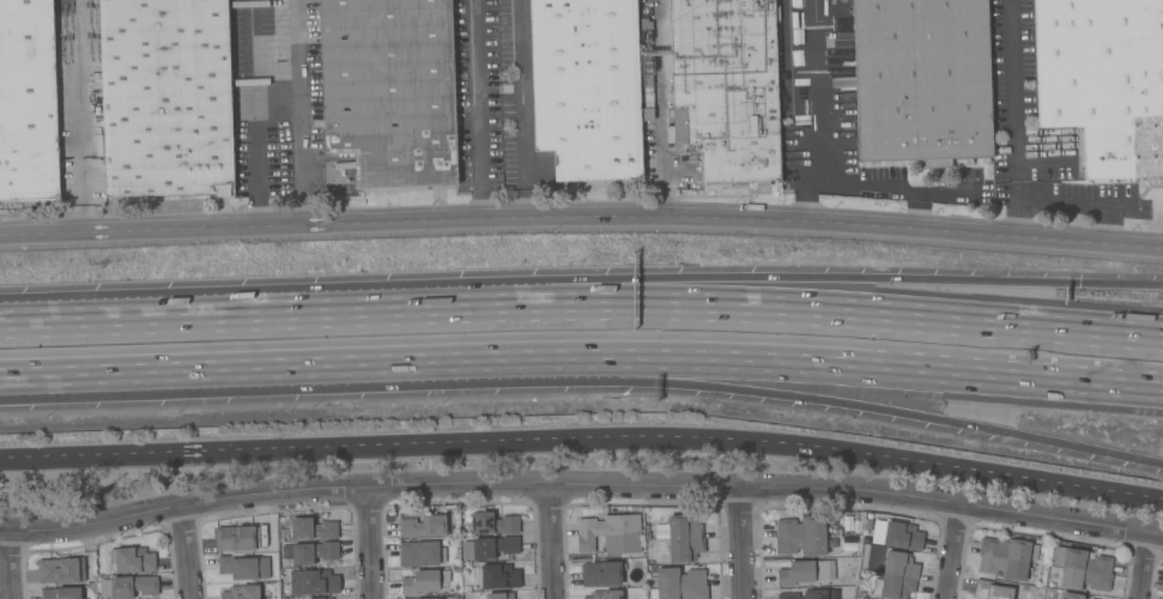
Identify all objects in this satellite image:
building: (921, 80)
building: (1103, 81)
building: (586, 87)
building: (726, 87)
building: (389, 90)
building: (165, 97)
building: (28, 102)
road: (659, 109)
road: (522, 110)
road: (478, 111)
road: (816, 113)
road: (299, 114)
road: (83, 117)
road: (1018, 120)
road: (888, 188)
road: (911, 212)
road: (581, 219)
road: (648, 284)
traffic signals: (1079, 286)
road: (648, 315)
road: (67, 320)
road: (788, 364)
road: (208, 379)
road: (1, 386)
road: (1, 386)
road: (791, 397)
road: (583, 440)
road: (581, 488)
building: (491, 524)
building: (424, 526)
building: (313, 530)
building: (660, 531)
building: (610, 533)
building: (896, 534)
building: (802, 536)
building: (235, 539)
building: (684, 539)
road: (370, 543)
road: (555, 543)
road: (744, 545)
building: (490, 547)
building: (309, 552)
road: (956, 552)
road: (188, 553)
building: (420, 553)
building: (649, 553)
building: (1006, 558)
building: (131, 561)
road: (13, 565)
building: (244, 567)
road: (1145, 567)
building: (1082, 569)
building: (61, 570)
building: (805, 573)
building: (601, 574)
building: (444, 576)
building: (499, 576)
building: (896, 576)
building: (314, 582)
building: (420, 582)
building: (679, 583)
building: (127, 586)
building: (466, 588)
building: (992, 591)
building: (241, 592)
building: (61, 593)
building: (605, 594)
building: (812, 594)
building: (499, 595)
building: (1071, 595)
building: (435, 598)

